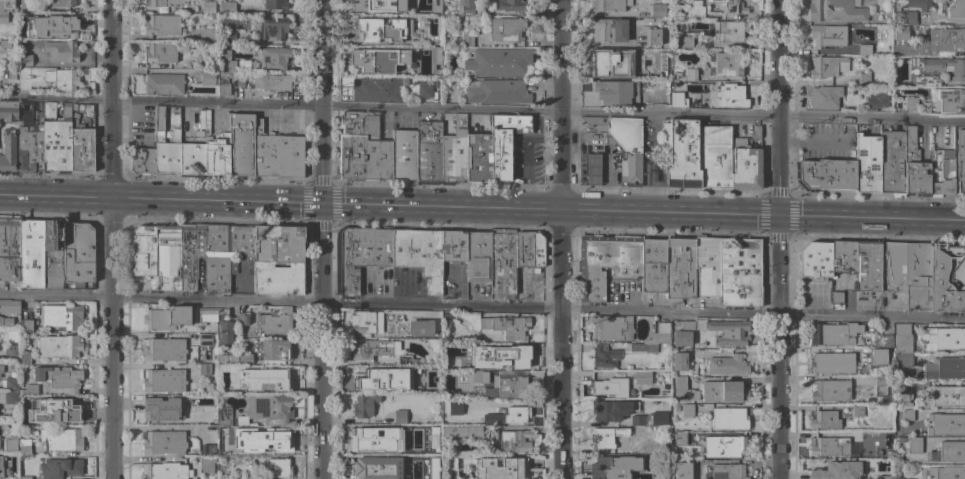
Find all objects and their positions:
building: (716, 1)
building: (62, 3)
building: (161, 3)
building: (275, 4)
building: (28, 5)
building: (370, 5)
building: (512, 5)
building: (609, 5)
building: (919, 5)
building: (7, 6)
building: (208, 7)
building: (226, 7)
building: (465, 7)
building: (734, 7)
building: (407, 9)
building: (957, 9)
building: (658, 11)
building: (836, 11)
building: (693, 13)
building: (903, 16)
building: (3, 17)
building: (51, 25)
building: (161, 25)
building: (269, 28)
building: (504, 29)
building: (382, 30)
building: (610, 30)
building: (730, 31)
building: (901, 32)
building: (207, 34)
building: (828, 36)
building: (229, 37)
building: (652, 38)
building: (467, 40)
building: (685, 41)
building: (935, 43)
building: (5, 44)
building: (866, 49)
building: (404, 50)
building: (61, 51)
building: (160, 52)
road: (321, 53)
road: (559, 57)
building: (274, 58)
building: (29, 60)
building: (226, 62)
building: (368, 62)
building: (497, 62)
building: (610, 62)
building: (660, 64)
building: (730, 64)
building: (703, 65)
building: (827, 66)
building: (932, 69)
building: (12, 72)
building: (467, 74)
building: (690, 74)
building: (207, 78)
building: (223, 78)
building: (47, 79)
building: (863, 79)
building: (926, 80)
building: (273, 82)
building: (164, 84)
building: (427, 88)
building: (375, 89)
building: (224, 90)
building: (498, 92)
building: (627, 94)
building: (734, 95)
building: (825, 97)
building: (676, 99)
road: (111, 100)
building: (881, 100)
building: (950, 100)
road: (160, 102)
building: (910, 104)
building: (896, 105)
road: (780, 109)
building: (49, 110)
road: (440, 110)
building: (159, 118)
road: (762, 118)
building: (755, 132)
building: (8, 135)
building: (29, 138)
road: (812, 139)
building: (620, 140)
building: (505, 142)
building: (57, 143)
building: (241, 144)
building: (363, 148)
building: (82, 150)
building: (454, 151)
building: (428, 152)
building: (681, 153)
building: (167, 154)
building: (277, 154)
building: (403, 155)
building: (216, 156)
road: (320, 156)
building: (623, 156)
building: (715, 157)
building: (478, 158)
building: (192, 160)
building: (142, 161)
building: (960, 161)
building: (867, 162)
road: (560, 163)
building: (891, 163)
building: (745, 165)
building: (914, 166)
building: (592, 169)
building: (826, 174)
building: (940, 174)
road: (55, 199)
road: (215, 203)
traffic signals: (320, 206)
road: (440, 209)
road: (670, 215)
traffic signals: (780, 218)
road: (872, 220)
building: (241, 241)
building: (454, 247)
building: (9, 248)
building: (523, 249)
building: (536, 250)
building: (77, 253)
building: (30, 254)
building: (190, 254)
building: (157, 255)
building: (362, 255)
building: (420, 255)
building: (478, 256)
building: (842, 256)
building: (52, 258)
building: (217, 258)
building: (280, 259)
building: (815, 260)
building: (502, 261)
building: (605, 263)
building: (653, 265)
building: (706, 266)
building: (867, 266)
building: (892, 267)
building: (679, 268)
building: (739, 272)
building: (917, 275)
building: (945, 280)
building: (837, 297)
building: (9, 306)
road: (482, 307)
building: (220, 311)
building: (206, 315)
building: (62, 317)
building: (168, 318)
building: (243, 319)
building: (5, 322)
building: (274, 322)
building: (363, 322)
building: (26, 326)
building: (505, 327)
building: (420, 328)
building: (611, 328)
building: (226, 330)
building: (729, 332)
building: (659, 334)
building: (683, 334)
building: (833, 334)
building: (902, 338)
building: (943, 338)
road: (111, 339)
building: (204, 339)
building: (886, 340)
road: (320, 342)
road: (561, 345)
building: (664, 346)
building: (58, 347)
building: (643, 347)
building: (373, 348)
road: (780, 348)
building: (163, 349)
building: (273, 350)
building: (476, 350)
building: (11, 352)
building: (604, 356)
building: (877, 357)
building: (24, 358)
building: (245, 359)
building: (512, 359)
building: (227, 360)
building: (406, 360)
building: (903, 360)
building: (678, 361)
building: (832, 363)
building: (476, 364)
building: (727, 365)
building: (628, 367)
building: (1, 369)
building: (204, 369)
building: (945, 369)
building: (672, 374)
building: (58, 377)
building: (273, 377)
building: (476, 377)
building: (642, 377)
building: (366, 378)
building: (163, 380)
building: (399, 380)
building: (11, 384)
building: (880, 386)
building: (241, 387)
building: (610, 387)
building: (508, 388)
building: (925, 388)
building: (28, 389)
building: (682, 390)
building: (830, 391)
building: (724, 392)
building: (903, 394)
building: (947, 396)
building: (11, 398)
building: (922, 404)
building: (364, 406)
building: (59, 408)
building: (454, 408)
building: (269, 409)
building: (611, 409)
building: (687, 410)
building: (164, 411)
building: (857, 411)
building: (907, 415)
building: (224, 416)
building: (508, 416)
building: (399, 417)
building: (729, 418)
building: (25, 420)
building: (240, 420)
building: (824, 420)
building: (637, 421)
building: (945, 424)
building: (12, 427)
building: (463, 432)
building: (363, 436)
building: (607, 436)
building: (432, 437)
building: (272, 438)
building: (680, 438)
building: (61, 439)
building: (901, 439)
building: (163, 442)
building: (512, 442)
building: (915, 445)
building: (723, 446)
building: (401, 447)
building: (661, 447)
building: (827, 447)
building: (24, 448)
building: (208, 449)
building: (232, 449)
building: (951, 451)
building: (208, 464)
building: (371, 464)
building: (449, 464)
building: (610, 466)
building: (882, 466)
building: (60, 468)
building: (278, 468)
building: (500, 468)
building: (0, 469)
building: (165, 471)
building: (682, 471)
building: (728, 471)
building: (834, 471)
building: (946, 473)
building: (398, 475)
building: (644, 476)
building: (24, 477)

